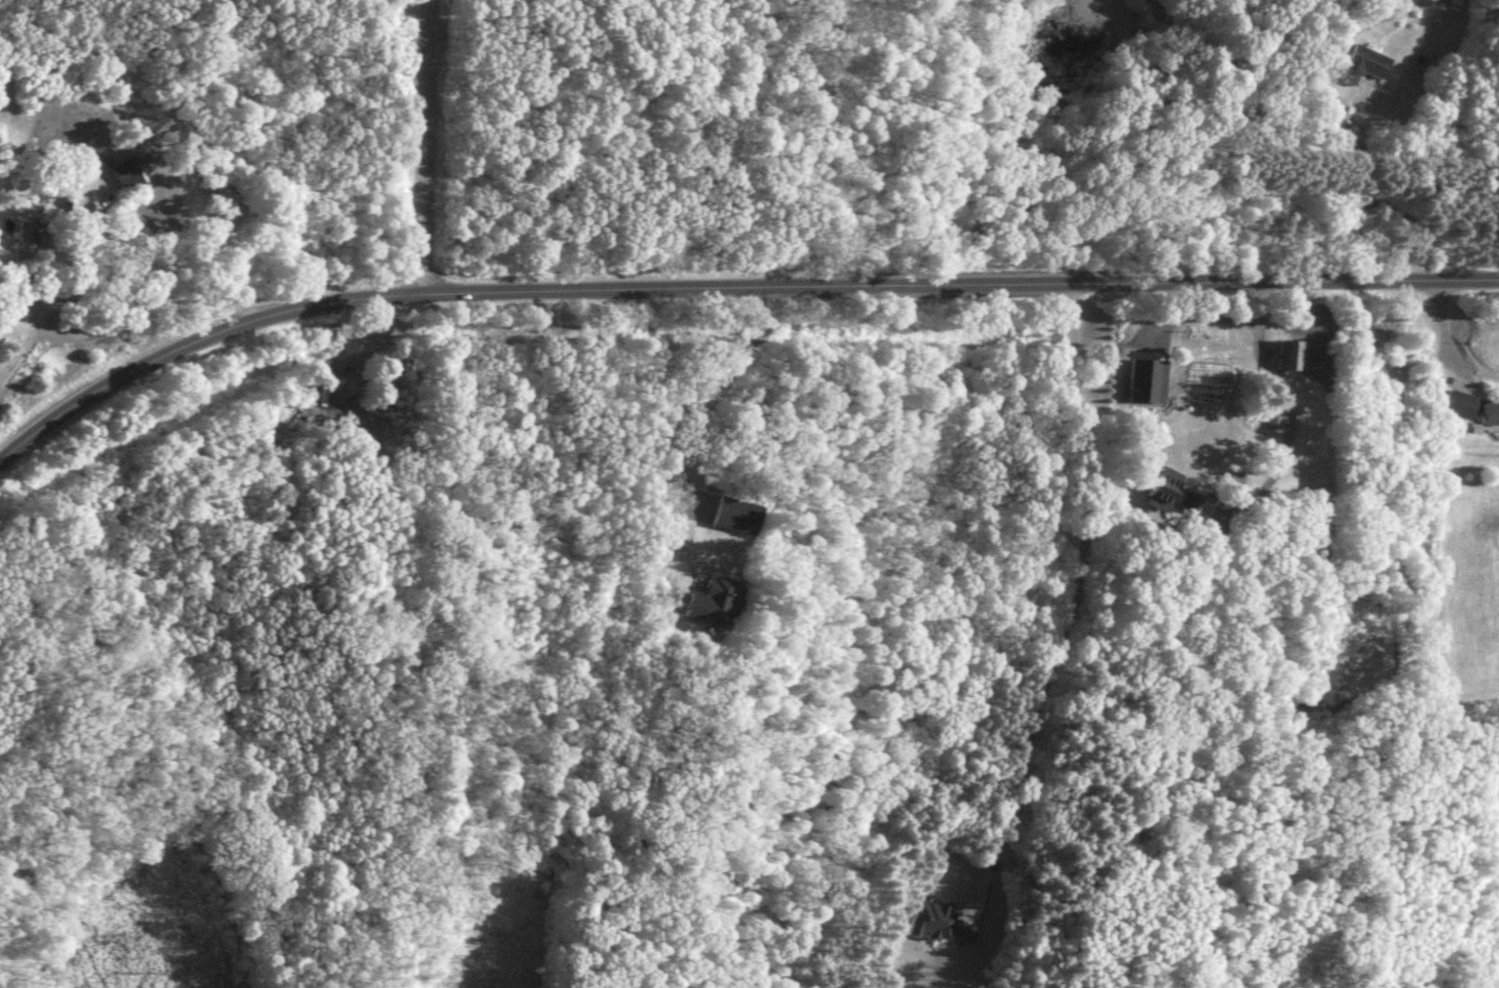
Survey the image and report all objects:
building: (1363, 64)
road: (424, 142)
building: (129, 174)
road: (1377, 197)
building: (75, 203)
building: (25, 233)
road: (1429, 278)
road: (839, 281)
road: (159, 293)
road: (1196, 315)
road: (30, 330)
road: (1441, 331)
road: (150, 356)
building: (1290, 356)
building: (349, 391)
building: (1460, 404)
road: (1292, 412)
building: (1491, 414)
road: (697, 415)
building: (1275, 417)
building: (1171, 491)
building: (735, 517)
road: (1074, 591)
building: (710, 601)
building: (930, 921)

